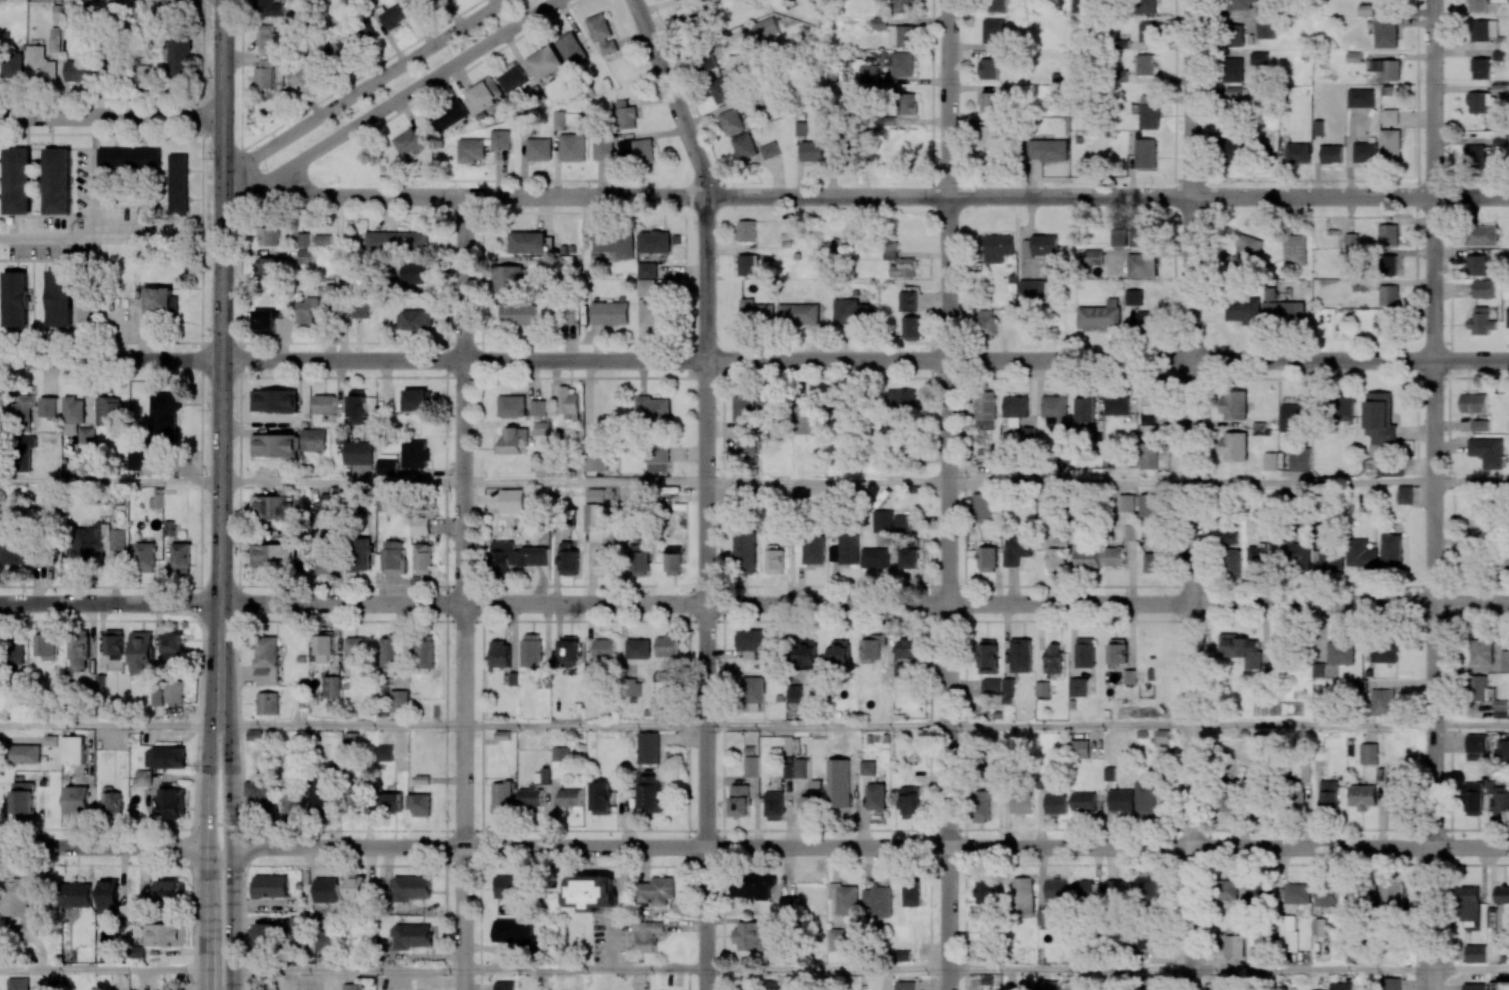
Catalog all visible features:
building: (677, 0)
building: (1500, 0)
building: (420, 4)
building: (996, 5)
building: (1240, 5)
building: (1477, 5)
building: (904, 6)
building: (1147, 6)
building: (269, 8)
building: (393, 17)
building: (880, 23)
building: (765, 27)
building: (1265, 28)
building: (1484, 29)
building: (992, 31)
building: (602, 33)
building: (1148, 33)
building: (1386, 33)
building: (902, 35)
building: (1233, 35)
building: (267, 38)
building: (55, 39)
building: (1502, 42)
building: (334, 48)
building: (571, 49)
building: (180, 56)
building: (1259, 58)
building: (545, 62)
building: (709, 63)
building: (903, 64)
building: (1145, 64)
building: (13, 65)
building: (41, 65)
building: (990, 66)
building: (1387, 68)
building: (1481, 68)
building: (1233, 69)
building: (79, 70)
building: (144, 70)
building: (110, 73)
building: (869, 73)
building: (265, 74)
building: (306, 74)
building: (513, 79)
road: (362, 87)
building: (723, 89)
building: (483, 94)
road: (672, 97)
building: (1361, 98)
building: (1148, 99)
building: (990, 102)
building: (1477, 102)
road: (390, 103)
building: (907, 103)
building: (1232, 105)
building: (449, 115)
building: (626, 115)
road: (110, 116)
building: (1390, 116)
building: (1148, 117)
building: (559, 120)
building: (731, 121)
building: (988, 136)
building: (500, 138)
building: (408, 141)
building: (1390, 143)
building: (744, 146)
building: (572, 147)
building: (603, 148)
building: (538, 149)
building: (898, 149)
building: (1046, 149)
building: (470, 150)
building: (638, 150)
building: (770, 150)
building: (812, 151)
building: (843, 151)
building: (1234, 152)
building: (1365, 152)
building: (1145, 153)
building: (1297, 153)
building: (1331, 154)
building: (1474, 155)
building: (129, 156)
road: (94, 175)
building: (58, 180)
building: (18, 181)
building: (179, 184)
road: (864, 197)
building: (747, 231)
building: (1388, 234)
road: (47, 235)
road: (121, 235)
building: (1482, 235)
building: (269, 236)
building: (1130, 236)
building: (323, 239)
building: (303, 240)
building: (1352, 240)
building: (654, 241)
building: (396, 242)
building: (528, 242)
building: (614, 243)
building: (1041, 246)
building: (998, 247)
building: (1295, 249)
building: (891, 250)
building: (1245, 253)
building: (305, 256)
building: (1094, 257)
building: (1476, 264)
building: (747, 265)
building: (1137, 265)
building: (1389, 265)
building: (269, 266)
building: (903, 268)
building: (646, 270)
building: (416, 273)
building: (507, 279)
building: (646, 287)
building: (1483, 288)
building: (1506, 290)
building: (329, 291)
building: (1032, 291)
building: (1388, 295)
road: (95, 297)
building: (1133, 297)
building: (15, 299)
building: (60, 299)
building: (162, 299)
building: (907, 301)
building: (360, 309)
building: (1281, 309)
building: (306, 310)
building: (1243, 310)
building: (755, 311)
building: (610, 312)
building: (656, 312)
building: (798, 313)
building: (518, 314)
building: (567, 314)
building: (853, 314)
building: (1099, 315)
building: (1508, 318)
building: (415, 319)
building: (1146, 319)
building: (265, 320)
building: (987, 322)
building: (1482, 322)
building: (1386, 325)
building: (912, 328)
road: (111, 358)
road: (865, 359)
road: (222, 362)
building: (274, 400)
building: (418, 400)
building: (903, 400)
building: (325, 402)
building: (569, 402)
building: (1473, 402)
building: (48, 403)
building: (512, 404)
building: (538, 405)
building: (1116, 405)
building: (1234, 405)
building: (357, 407)
building: (652, 408)
building: (985, 408)
building: (1016, 408)
building: (1151, 408)
building: (1343, 408)
building: (22, 409)
building: (110, 410)
building: (1083, 411)
building: (1055, 413)
building: (72, 414)
building: (165, 415)
building: (1295, 415)
building: (745, 416)
building: (1379, 418)
building: (809, 422)
building: (1480, 425)
building: (541, 428)
building: (86, 436)
building: (315, 437)
building: (515, 440)
building: (28, 441)
building: (576, 442)
building: (275, 445)
building: (1234, 446)
building: (746, 447)
building: (658, 451)
building: (1487, 451)
building: (360, 452)
building: (417, 452)
building: (142, 455)
building: (596, 456)
building: (1148, 456)
building: (1300, 458)
building: (539, 461)
building: (1270, 461)
building: (24, 463)
building: (389, 465)
building: (1390, 469)
road: (110, 481)
road: (342, 481)
road: (585, 482)
road: (827, 482)
road: (1069, 482)
road: (1311, 483)
road: (1470, 483)
road: (948, 494)
road: (1432, 494)
building: (595, 495)
road: (1189, 495)
building: (1405, 495)
building: (384, 498)
building: (330, 500)
building: (512, 500)
building: (1126, 503)
building: (1149, 505)
building: (274, 507)
building: (986, 508)
building: (883, 521)
building: (903, 523)
building: (422, 524)
building: (1230, 536)
building: (117, 539)
building: (87, 543)
building: (1470, 546)
building: (849, 547)
building: (1017, 548)
building: (810, 549)
building: (1392, 551)
building: (1055, 552)
building: (745, 553)
building: (1361, 553)
building: (14, 554)
building: (359, 554)
building: (604, 554)
building: (273, 555)
building: (1298, 555)
building: (516, 556)
building: (876, 556)
building: (1114, 556)
building: (145, 557)
building: (181, 557)
building: (393, 557)
building: (424, 558)
building: (673, 558)
building: (910, 558)
building: (987, 558)
building: (1087, 558)
building: (1327, 558)
building: (568, 559)
building: (639, 559)
building: (327, 560)
building: (774, 560)
building: (1257, 560)
building: (1232, 561)
building: (1153, 562)
road: (464, 593)
road: (705, 593)
road: (110, 603)
road: (864, 604)
building: (754, 642)
building: (46, 644)
building: (114, 644)
building: (666, 645)
building: (324, 647)
building: (872, 647)
building: (637, 648)
building: (909, 648)
building: (569, 649)
building: (604, 649)
building: (1244, 649)
building: (78, 650)
building: (173, 650)
building: (354, 650)
building: (531, 650)
building: (805, 651)
building: (1117, 651)
building: (389, 652)
building: (424, 652)
building: (840, 652)
building: (1085, 652)
building: (1384, 652)
building: (1481, 652)
building: (15, 653)
building: (142, 653)
building: (499, 653)
building: (1021, 655)
building: (988, 656)
building: (1334, 657)
building: (1053, 658)
building: (266, 659)
building: (1504, 661)
building: (331, 686)
building: (632, 687)
building: (999, 687)
building: (1078, 687)
building: (1042, 688)
building: (1481, 688)
building: (753, 689)
building: (173, 691)
building: (794, 692)
building: (399, 701)
building: (1384, 702)
building: (267, 703)
building: (1500, 708)
road: (110, 724)
road: (342, 725)
road: (584, 725)
road: (826, 725)
road: (1068, 726)
road: (1310, 726)
road: (1470, 726)
building: (254, 734)
building: (351, 739)
building: (1476, 743)
building: (649, 747)
building: (73, 748)
building: (1079, 748)
building: (750, 749)
building: (1503, 750)
building: (385, 753)
building: (561, 753)
building: (1369, 753)
building: (24, 754)
building: (165, 757)
building: (751, 766)
building: (802, 767)
building: (869, 767)
building: (788, 770)
building: (542, 776)
building: (143, 777)
building: (841, 783)
building: (1303, 789)
building: (1395, 791)
building: (259, 792)
building: (651, 792)
building: (1328, 793)
building: (530, 795)
building: (320, 796)
building: (876, 796)
building: (1363, 796)
building: (502, 797)
building: (570, 797)
building: (600, 797)
building: (1146, 798)
building: (1474, 799)
building: (23, 800)
building: (76, 800)
building: (740, 800)
building: (910, 800)
building: (1121, 800)
building: (111, 801)
building: (172, 801)
building: (355, 801)
building: (1083, 801)
building: (1231, 801)
building: (1501, 801)
building: (392, 802)
building: (295, 803)
building: (1055, 803)
building: (419, 804)
building: (1021, 804)
building: (774, 805)
building: (810, 805)
building: (982, 806)
road: (102, 847)
road: (709, 847)
road: (1349, 848)
road: (205, 856)
road: (230, 856)
building: (753, 885)
building: (270, 886)
building: (513, 886)
building: (411, 887)
building: (1019, 887)
building: (1111, 887)
building: (356, 888)
building: (1148, 888)
building: (1226, 888)
building: (171, 889)
building: (326, 890)
building: (1081, 890)
building: (656, 891)
building: (987, 891)
building: (592, 892)
building: (912, 892)
building: (1258, 893)
building: (1296, 893)
building: (76, 894)
building: (1361, 894)
building: (1501, 894)
building: (1392, 895)
building: (16, 896)
building: (109, 896)
building: (1326, 896)
building: (845, 899)
building: (878, 900)
building: (1469, 903)
building: (786, 905)
building: (35, 923)
building: (1319, 926)
building: (514, 931)
building: (165, 934)
building: (265, 934)
building: (647, 935)
building: (411, 936)
building: (749, 936)
building: (838, 939)
building: (326, 941)
building: (1233, 946)
building: (137, 951)
building: (1475, 953)
building: (902, 955)
road: (103, 969)
road: (826, 969)
road: (1310, 969)
road: (1470, 969)
road: (584, 970)
road: (1068, 970)
road: (347, 971)
road: (330, 980)
building: (18, 983)
building: (1391, 983)
building: (504, 985)
building: (905, 985)
building: (1025, 985)
building: (1046, 985)
building: (349, 986)
building: (1341, 986)
building: (1474, 986)

